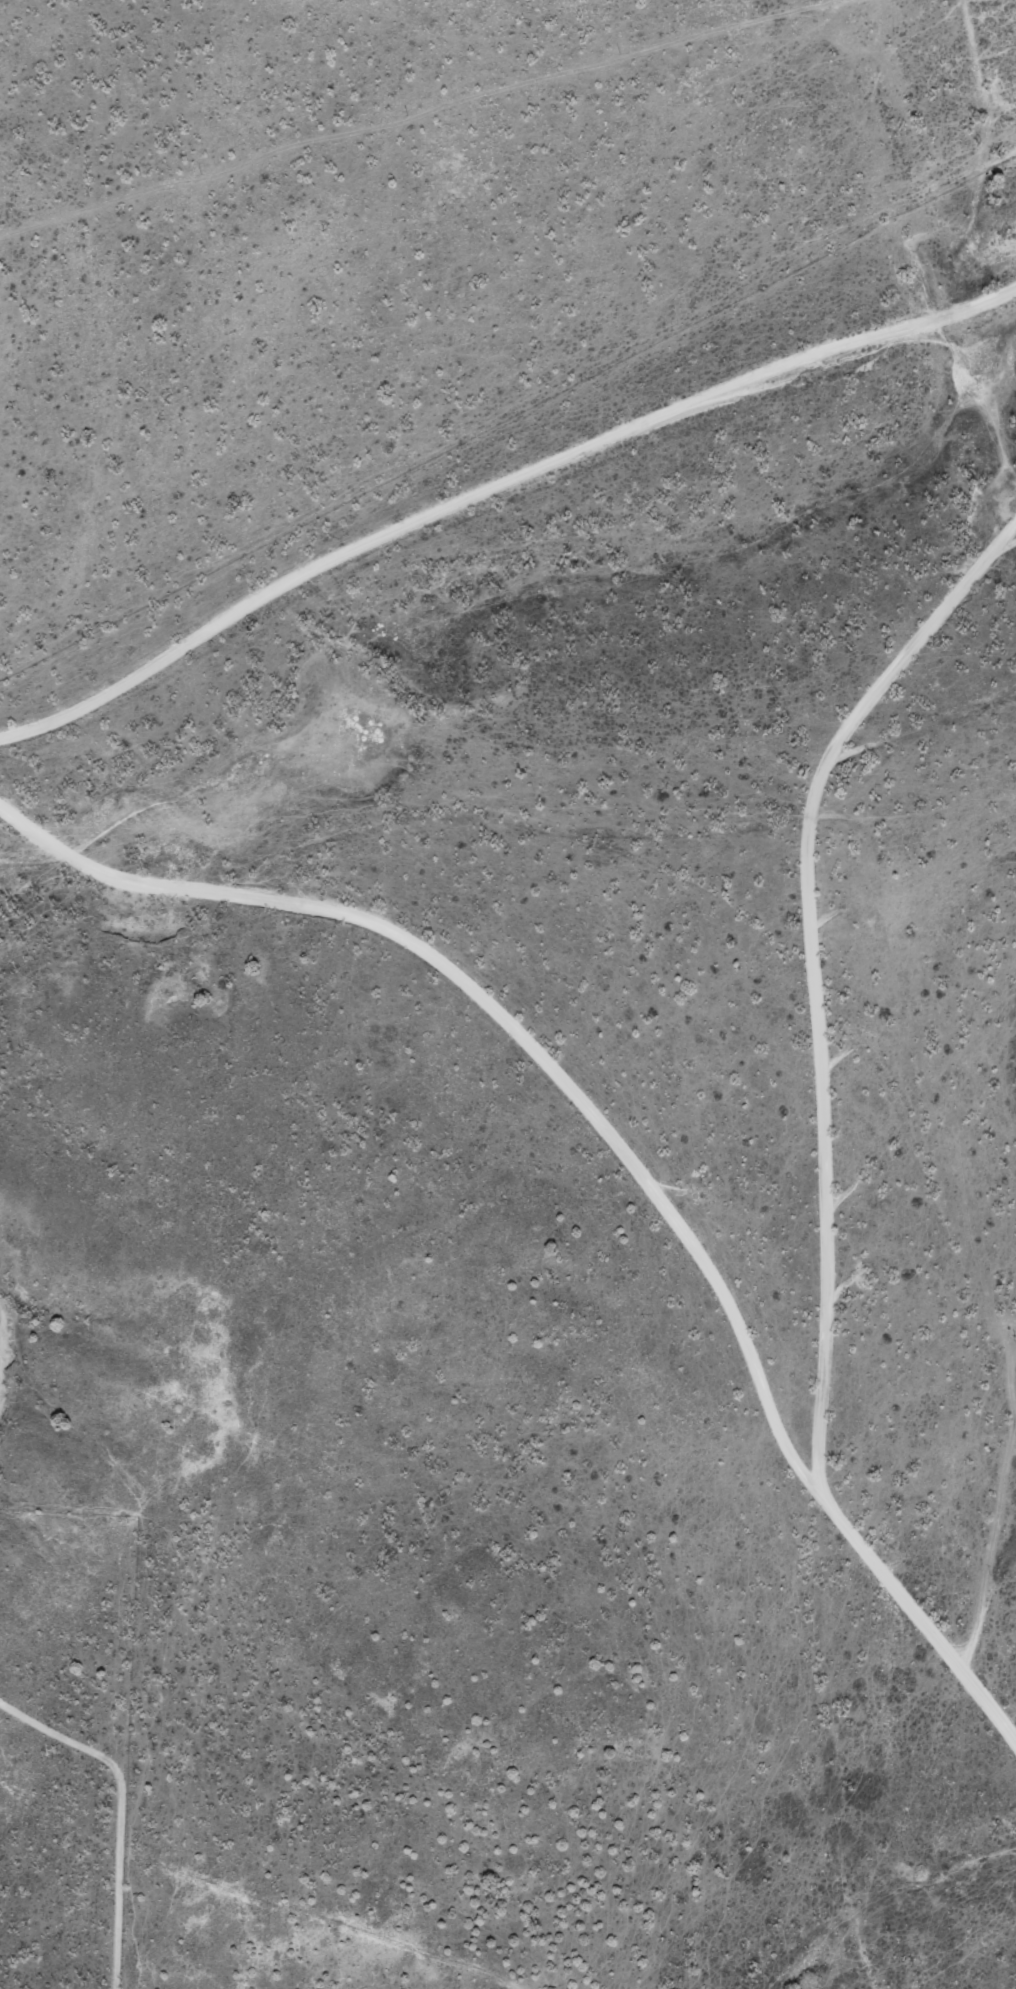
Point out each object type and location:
road: (489, 492)
road: (514, 846)
road: (941, 908)
road: (942, 1064)
road: (918, 1787)

